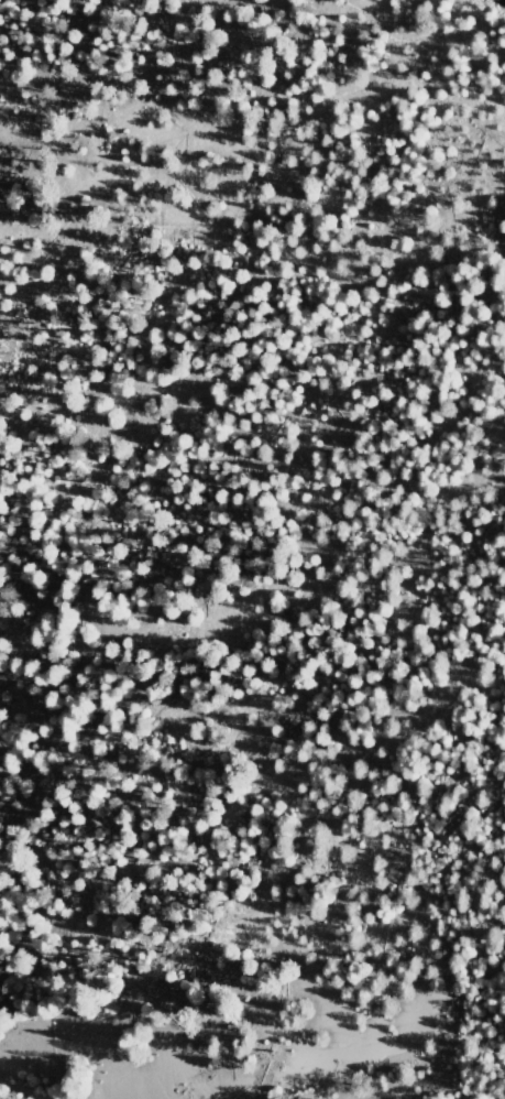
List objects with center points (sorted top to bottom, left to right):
road: (400, 1052)
road: (24, 1088)

